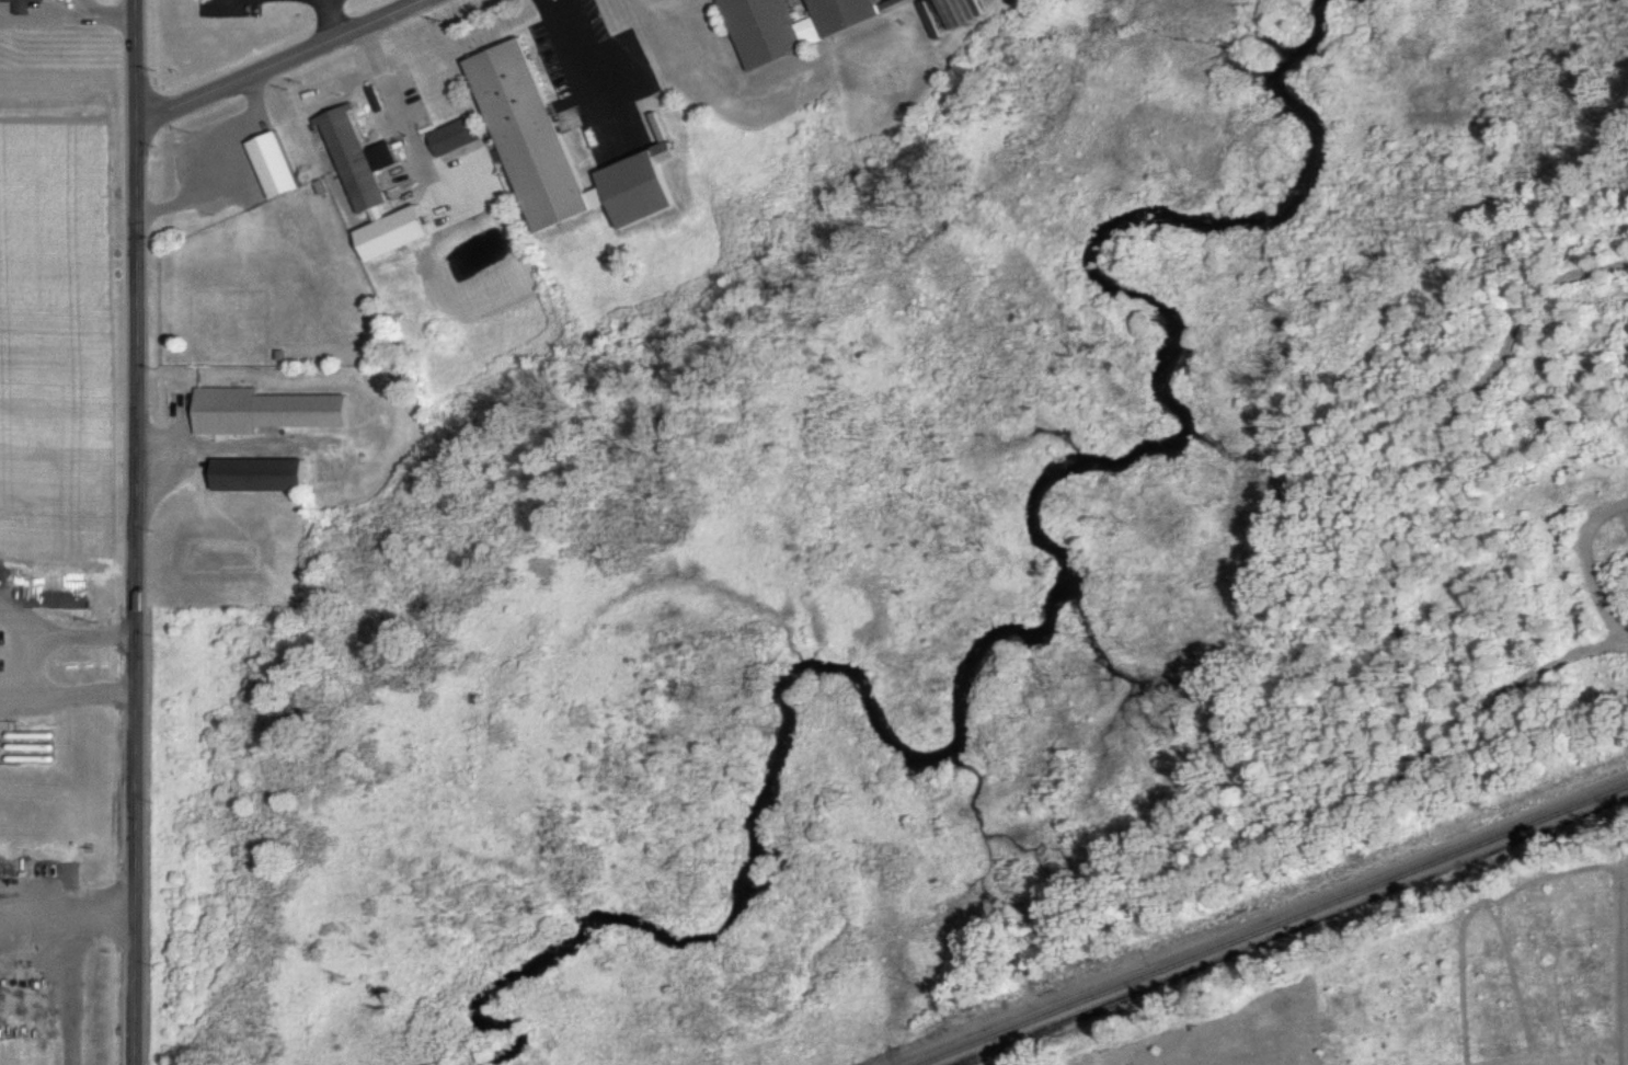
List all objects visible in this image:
building: (20, 7)
road: (549, 8)
road: (110, 18)
road: (329, 18)
road: (55, 23)
building: (790, 24)
road: (274, 59)
road: (582, 70)
road: (383, 81)
building: (454, 135)
building: (558, 149)
road: (422, 160)
road: (222, 162)
building: (271, 163)
building: (369, 186)
building: (261, 409)
building: (256, 473)
road: (133, 531)
road: (22, 667)
road: (12, 699)
road: (66, 915)
railway: (1279, 926)
road: (74, 989)

